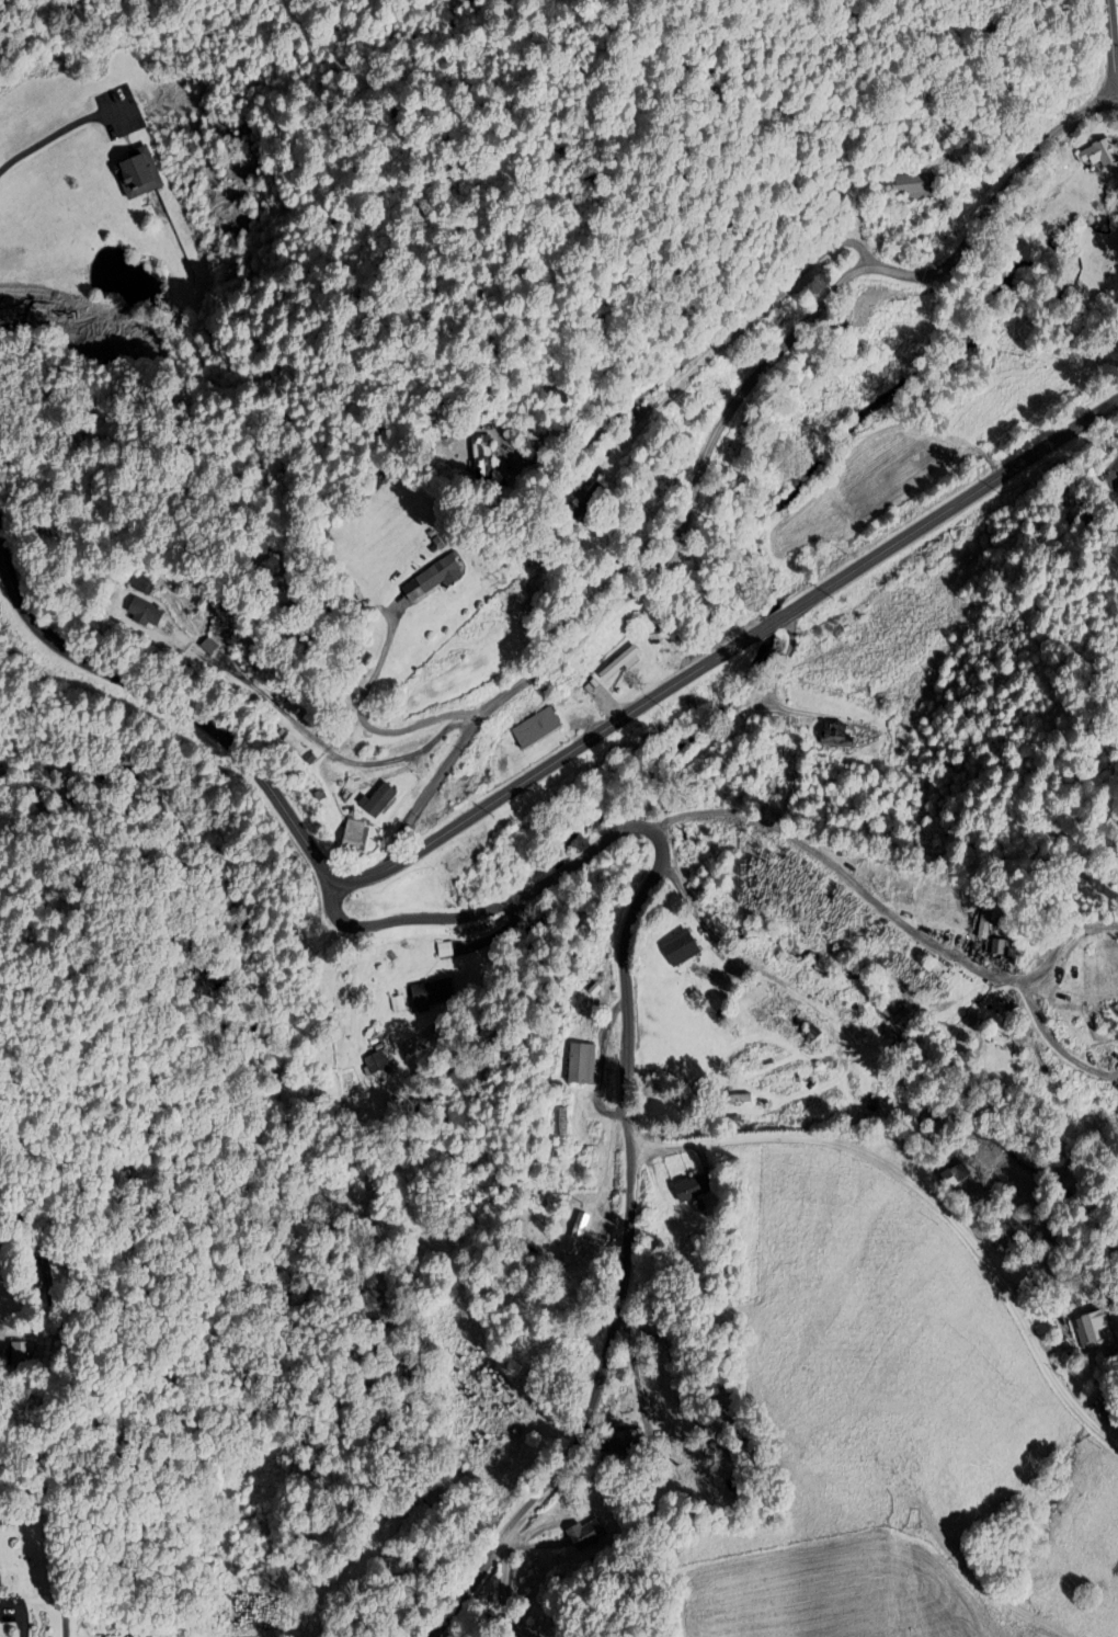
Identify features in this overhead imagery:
road: (1113, 52)
road: (56, 134)
building: (1097, 155)
building: (138, 173)
building: (915, 186)
road: (712, 437)
building: (483, 461)
road: (950, 508)
building: (434, 579)
building: (145, 586)
building: (152, 615)
road: (773, 623)
building: (613, 663)
road: (167, 703)
road: (275, 705)
building: (528, 727)
building: (836, 735)
road: (403, 761)
road: (552, 764)
building: (379, 799)
building: (357, 838)
road: (831, 865)
road: (562, 875)
building: (991, 914)
road: (425, 920)
road: (720, 944)
building: (1003, 945)
building: (681, 947)
building: (426, 996)
building: (695, 1000)
building: (768, 1010)
building: (585, 1061)
building: (374, 1062)
building: (694, 1187)
road: (928, 1197)
road: (629, 1209)
building: (579, 1234)
building: (1088, 1332)
building: (22, 1354)
road: (77, 1401)
building: (1110, 1414)
building: (625, 1457)
building: (591, 1533)
road: (52, 1542)
road: (21, 1614)

